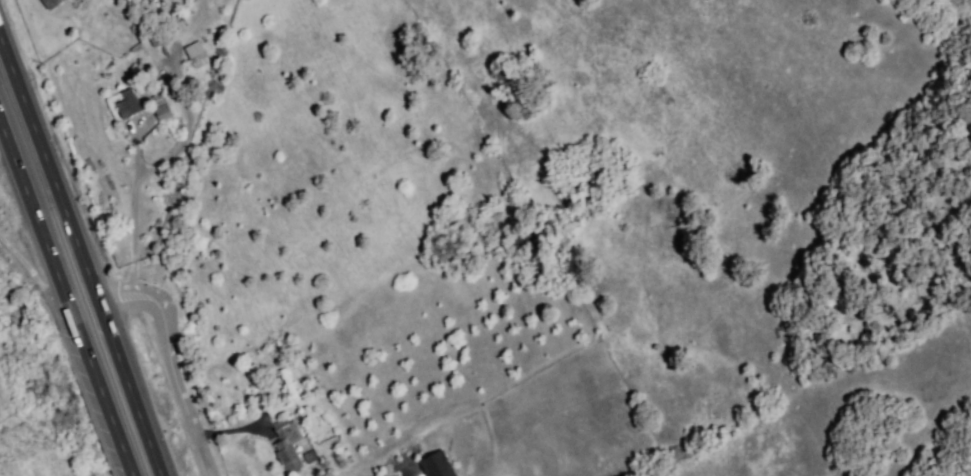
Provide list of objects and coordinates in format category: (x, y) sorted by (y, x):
building: (50, 4)
building: (196, 54)
building: (128, 104)
building: (162, 113)
road: (141, 149)
road: (140, 182)
road: (82, 253)
road: (37, 281)
road: (65, 294)
road: (178, 365)
building: (281, 425)
building: (288, 455)
building: (437, 465)

